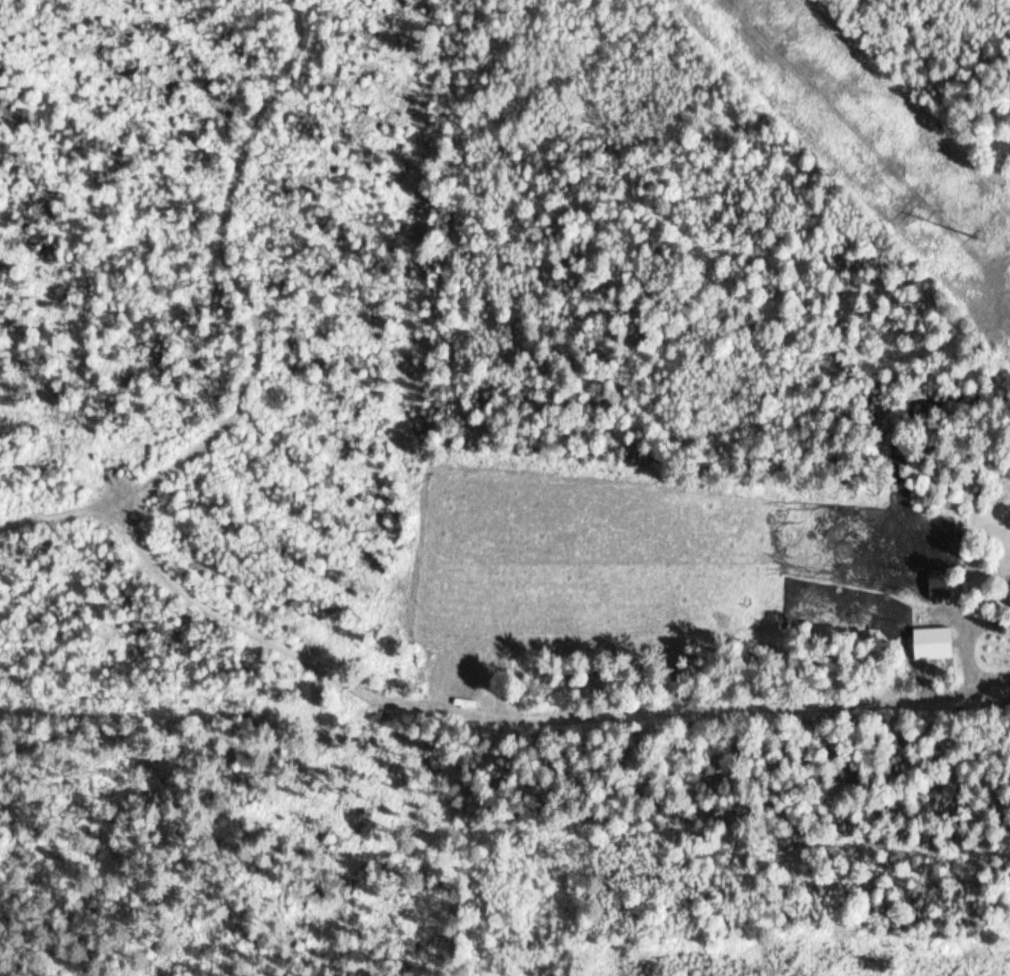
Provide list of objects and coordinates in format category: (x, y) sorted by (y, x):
power tower: (976, 234)
building: (941, 583)
building: (937, 643)

